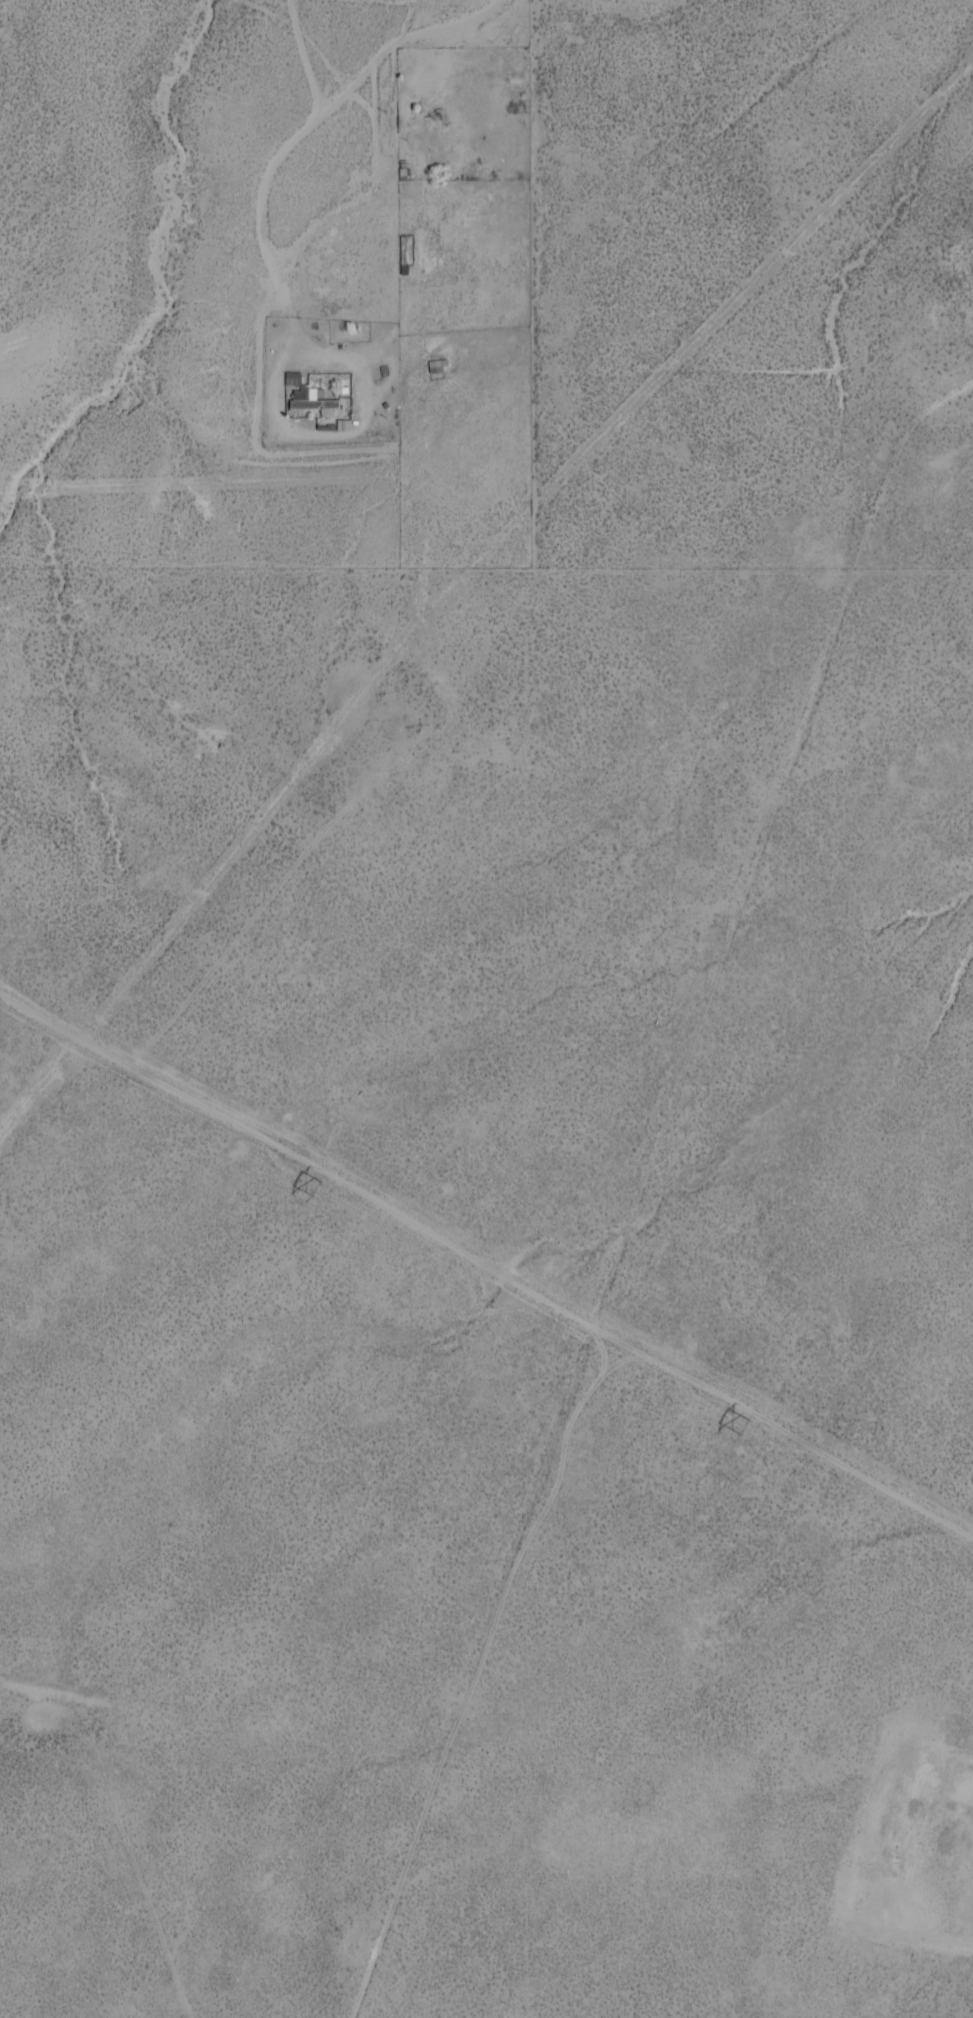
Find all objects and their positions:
building: (404, 253)
building: (436, 369)
building: (312, 406)
power tower: (311, 1192)
road: (662, 1213)
power tower: (741, 1430)

